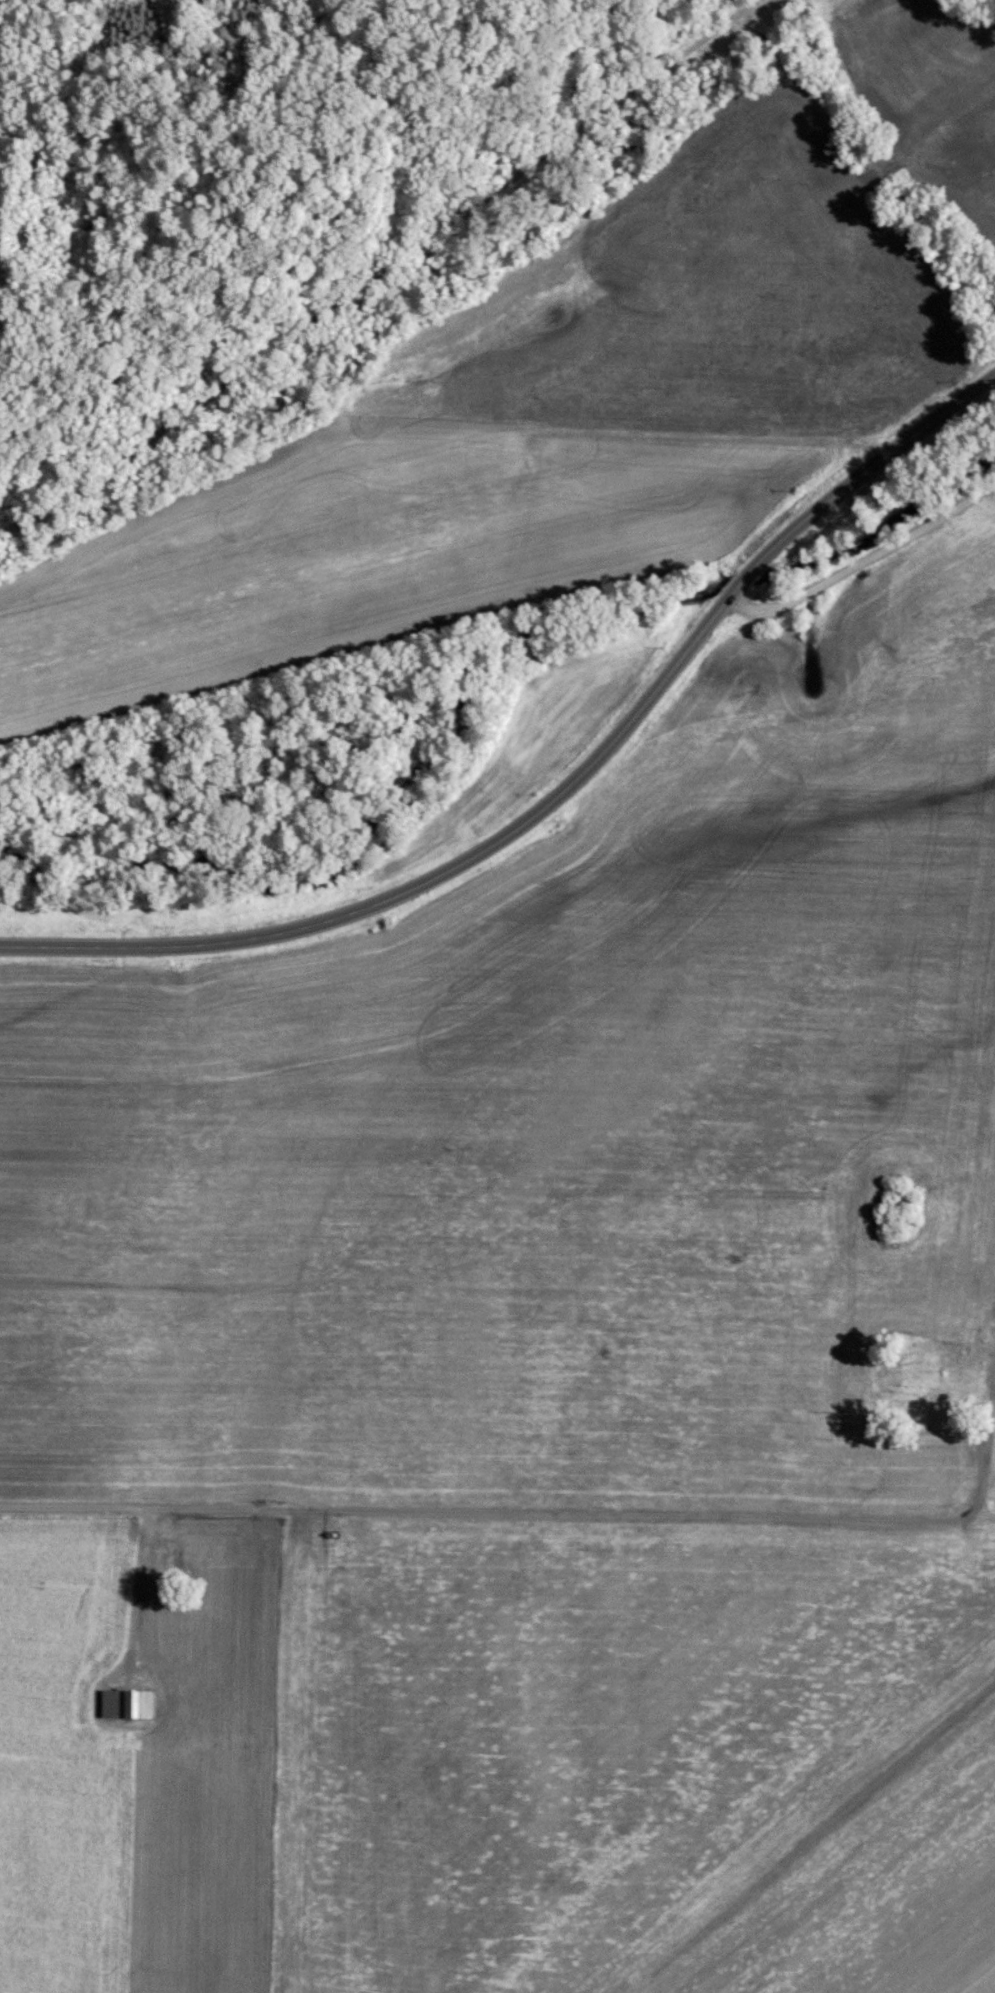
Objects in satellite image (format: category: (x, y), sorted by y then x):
road: (862, 154)
road: (383, 273)
road: (941, 413)
road: (862, 566)
road: (513, 834)
road: (991, 1478)
road: (494, 1518)
road: (991, 1523)
building: (165, 1556)
road: (134, 1598)
building: (124, 1705)

